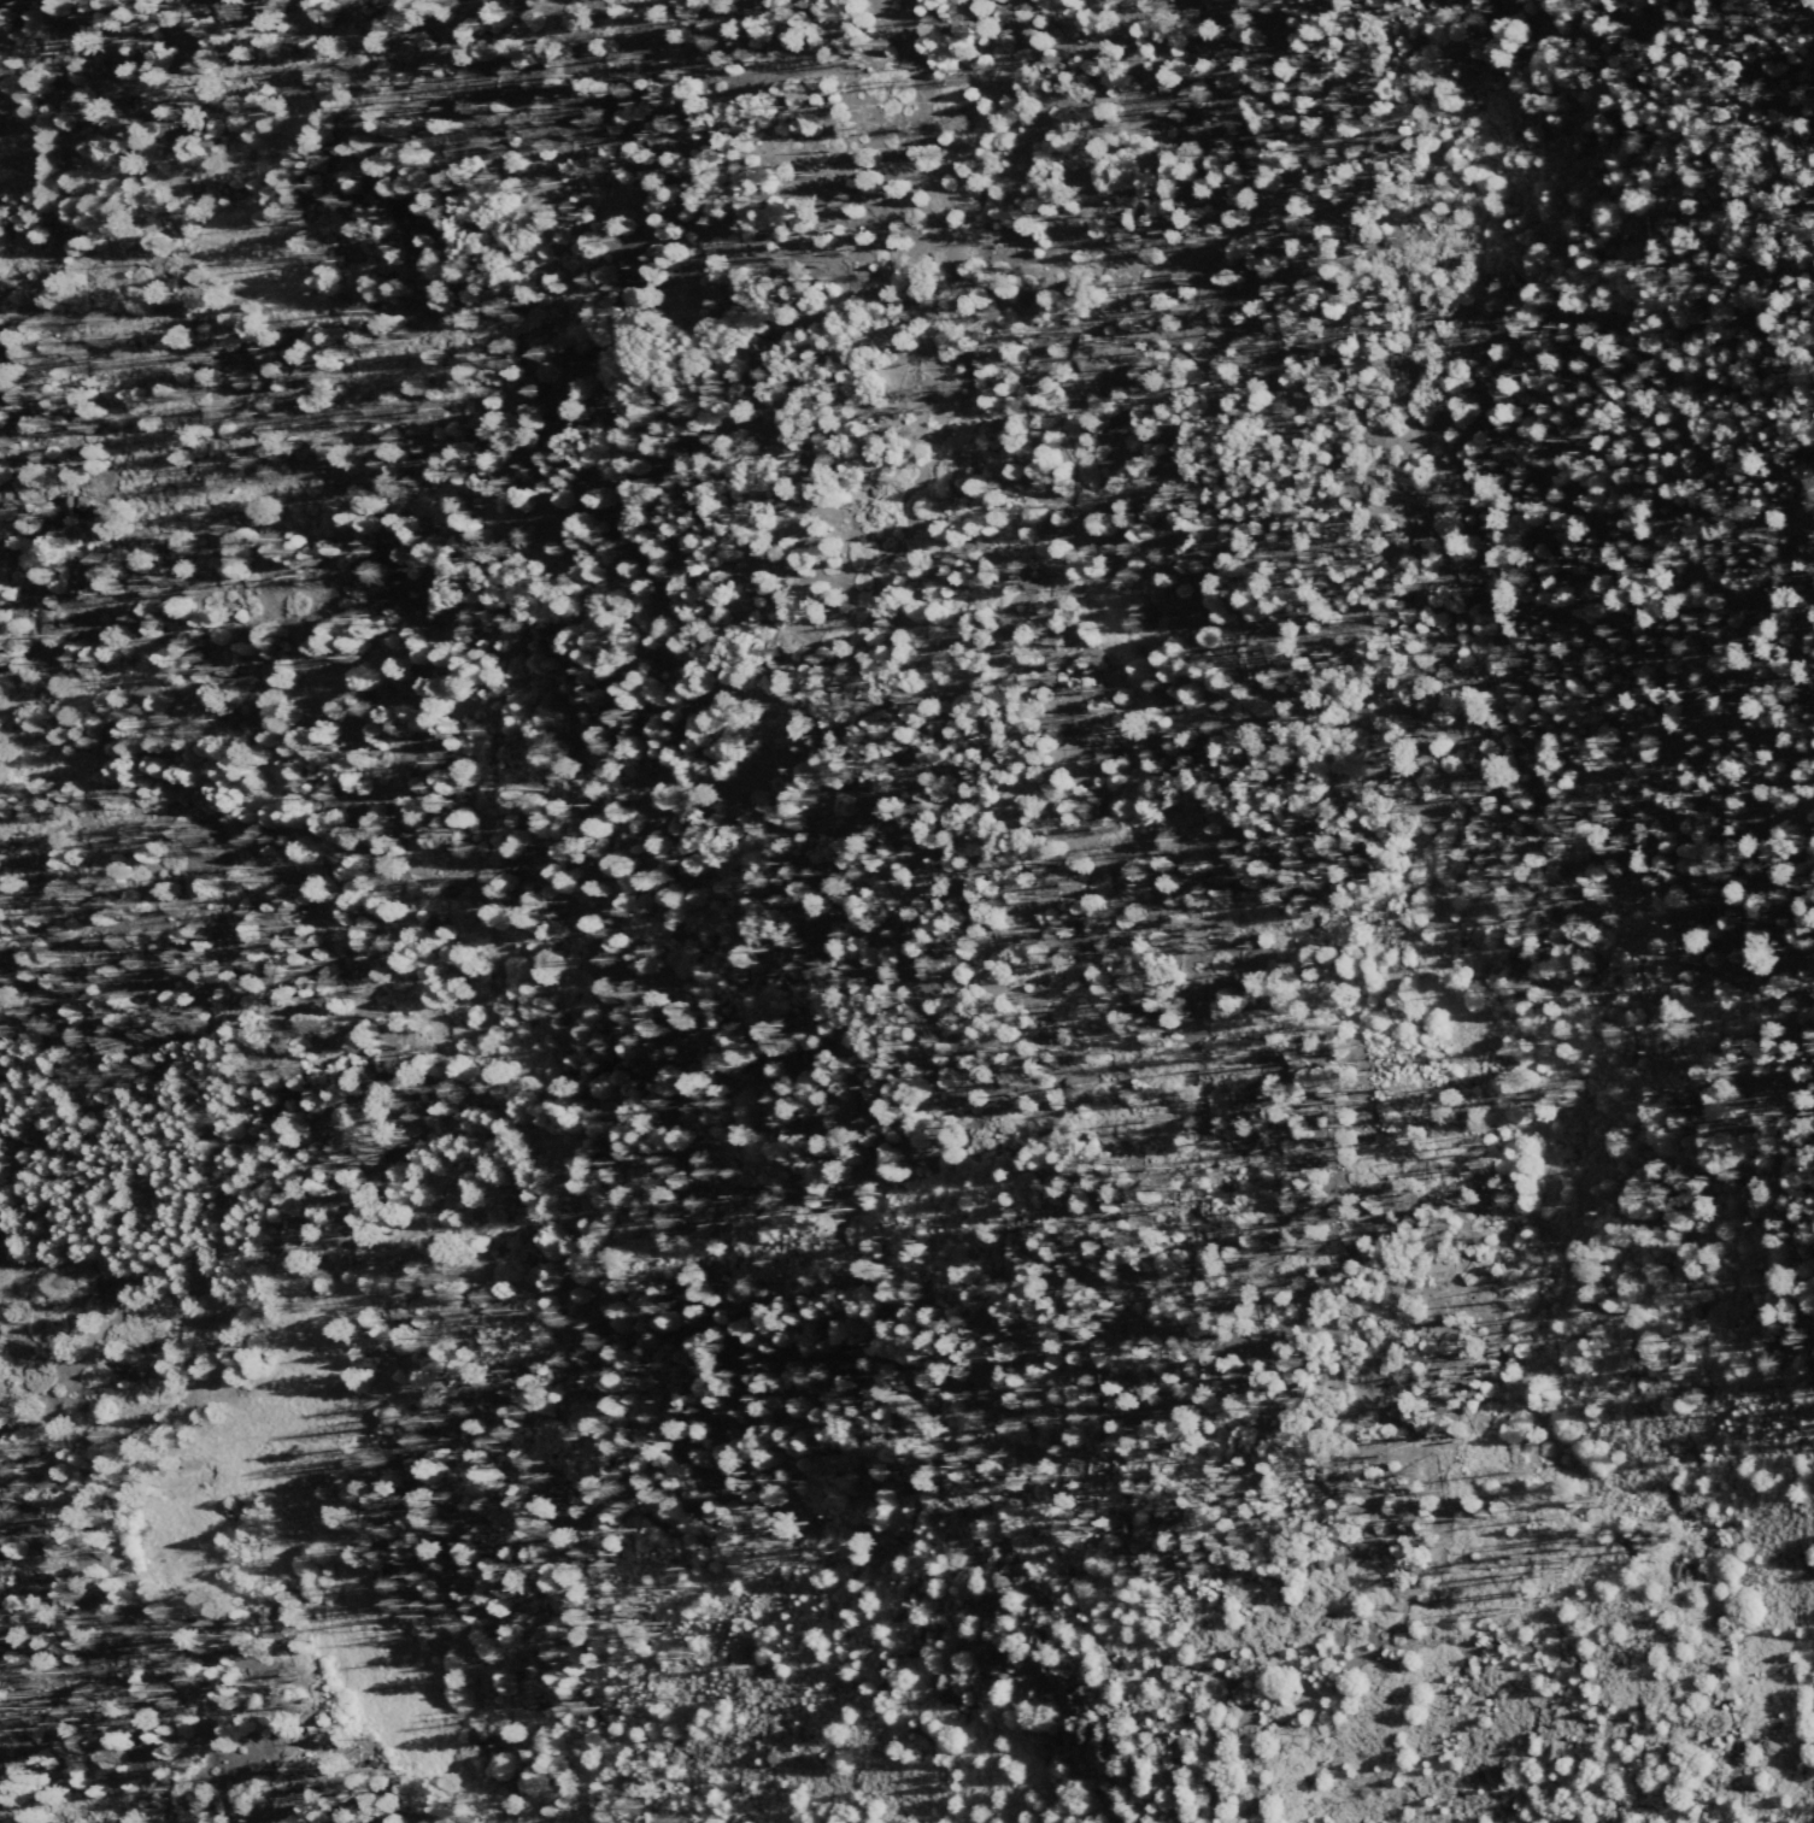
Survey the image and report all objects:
road: (55, 174)
road: (1520, 1657)

